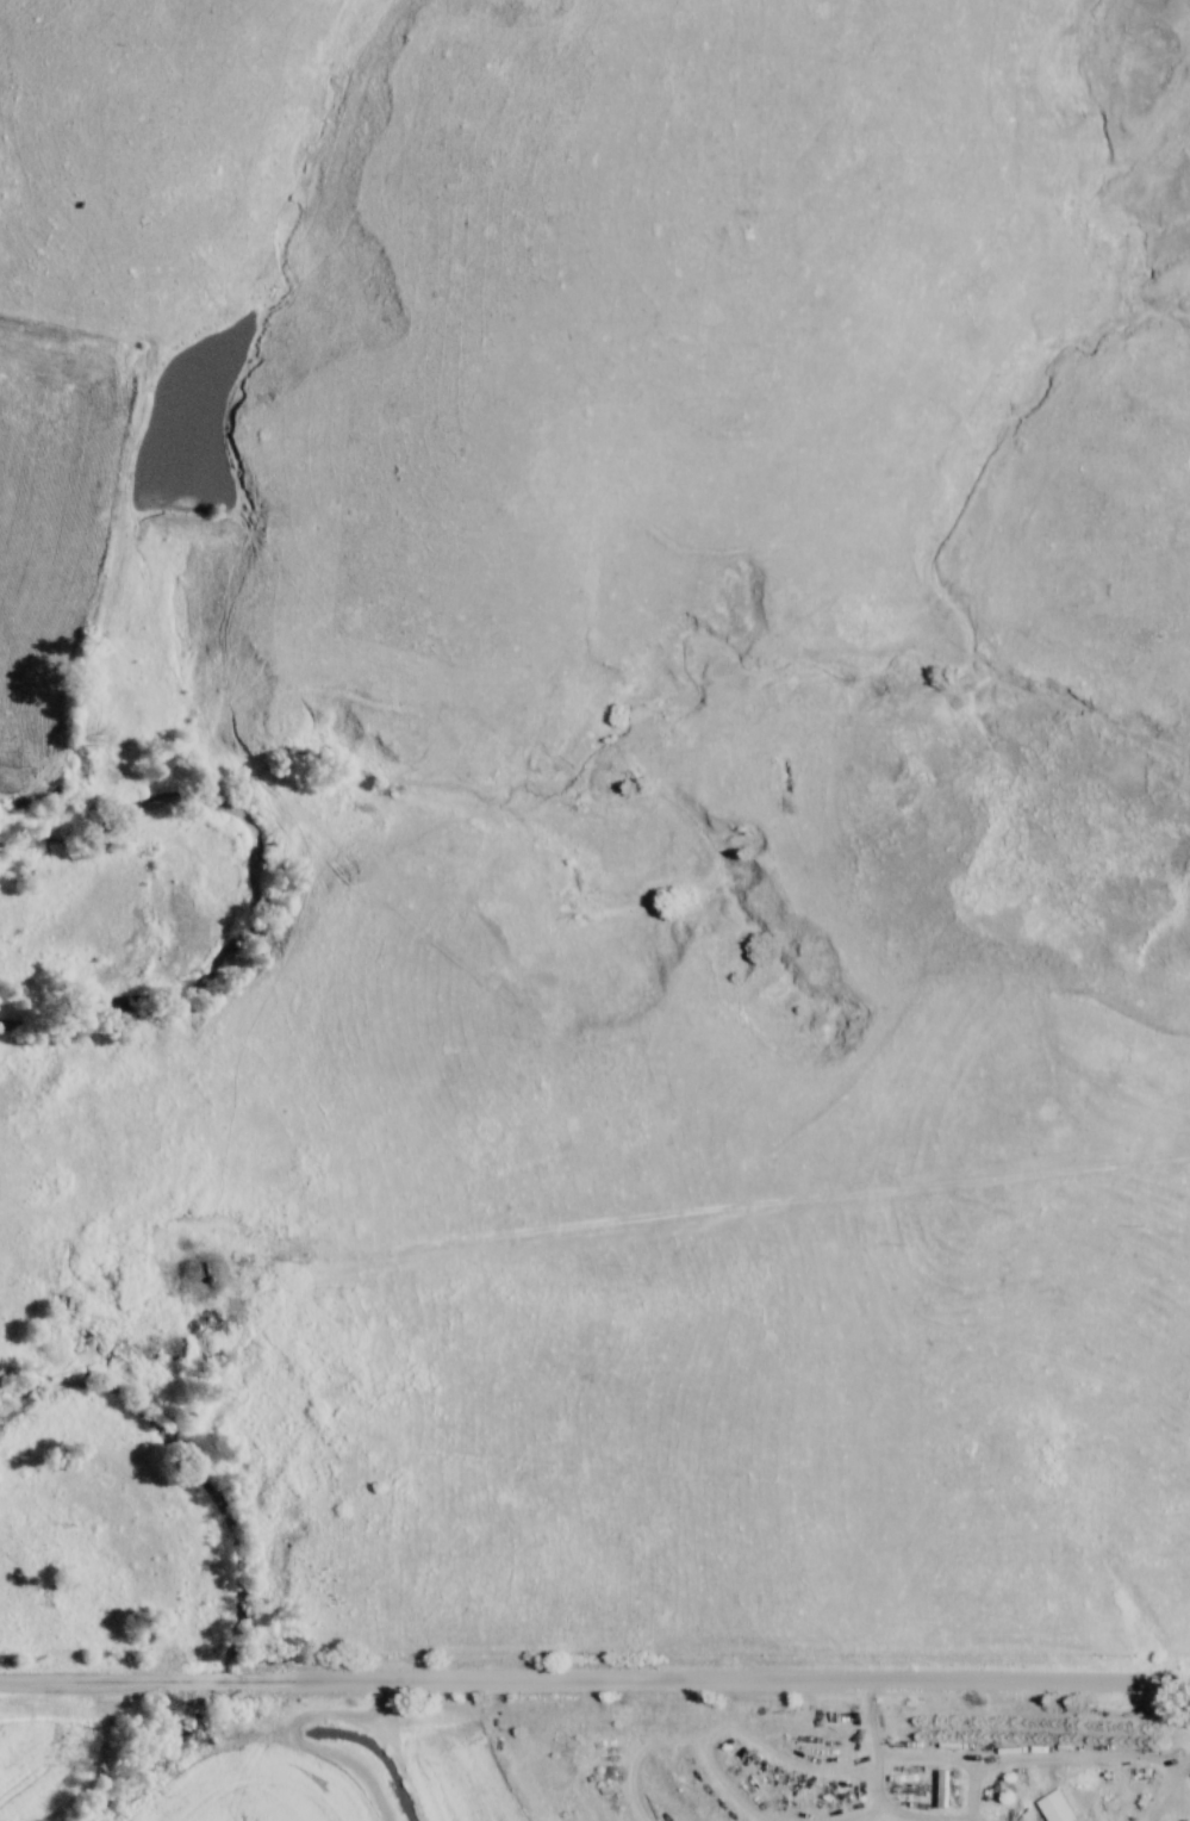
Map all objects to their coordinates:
road: (594, 1680)
building: (1054, 1806)

